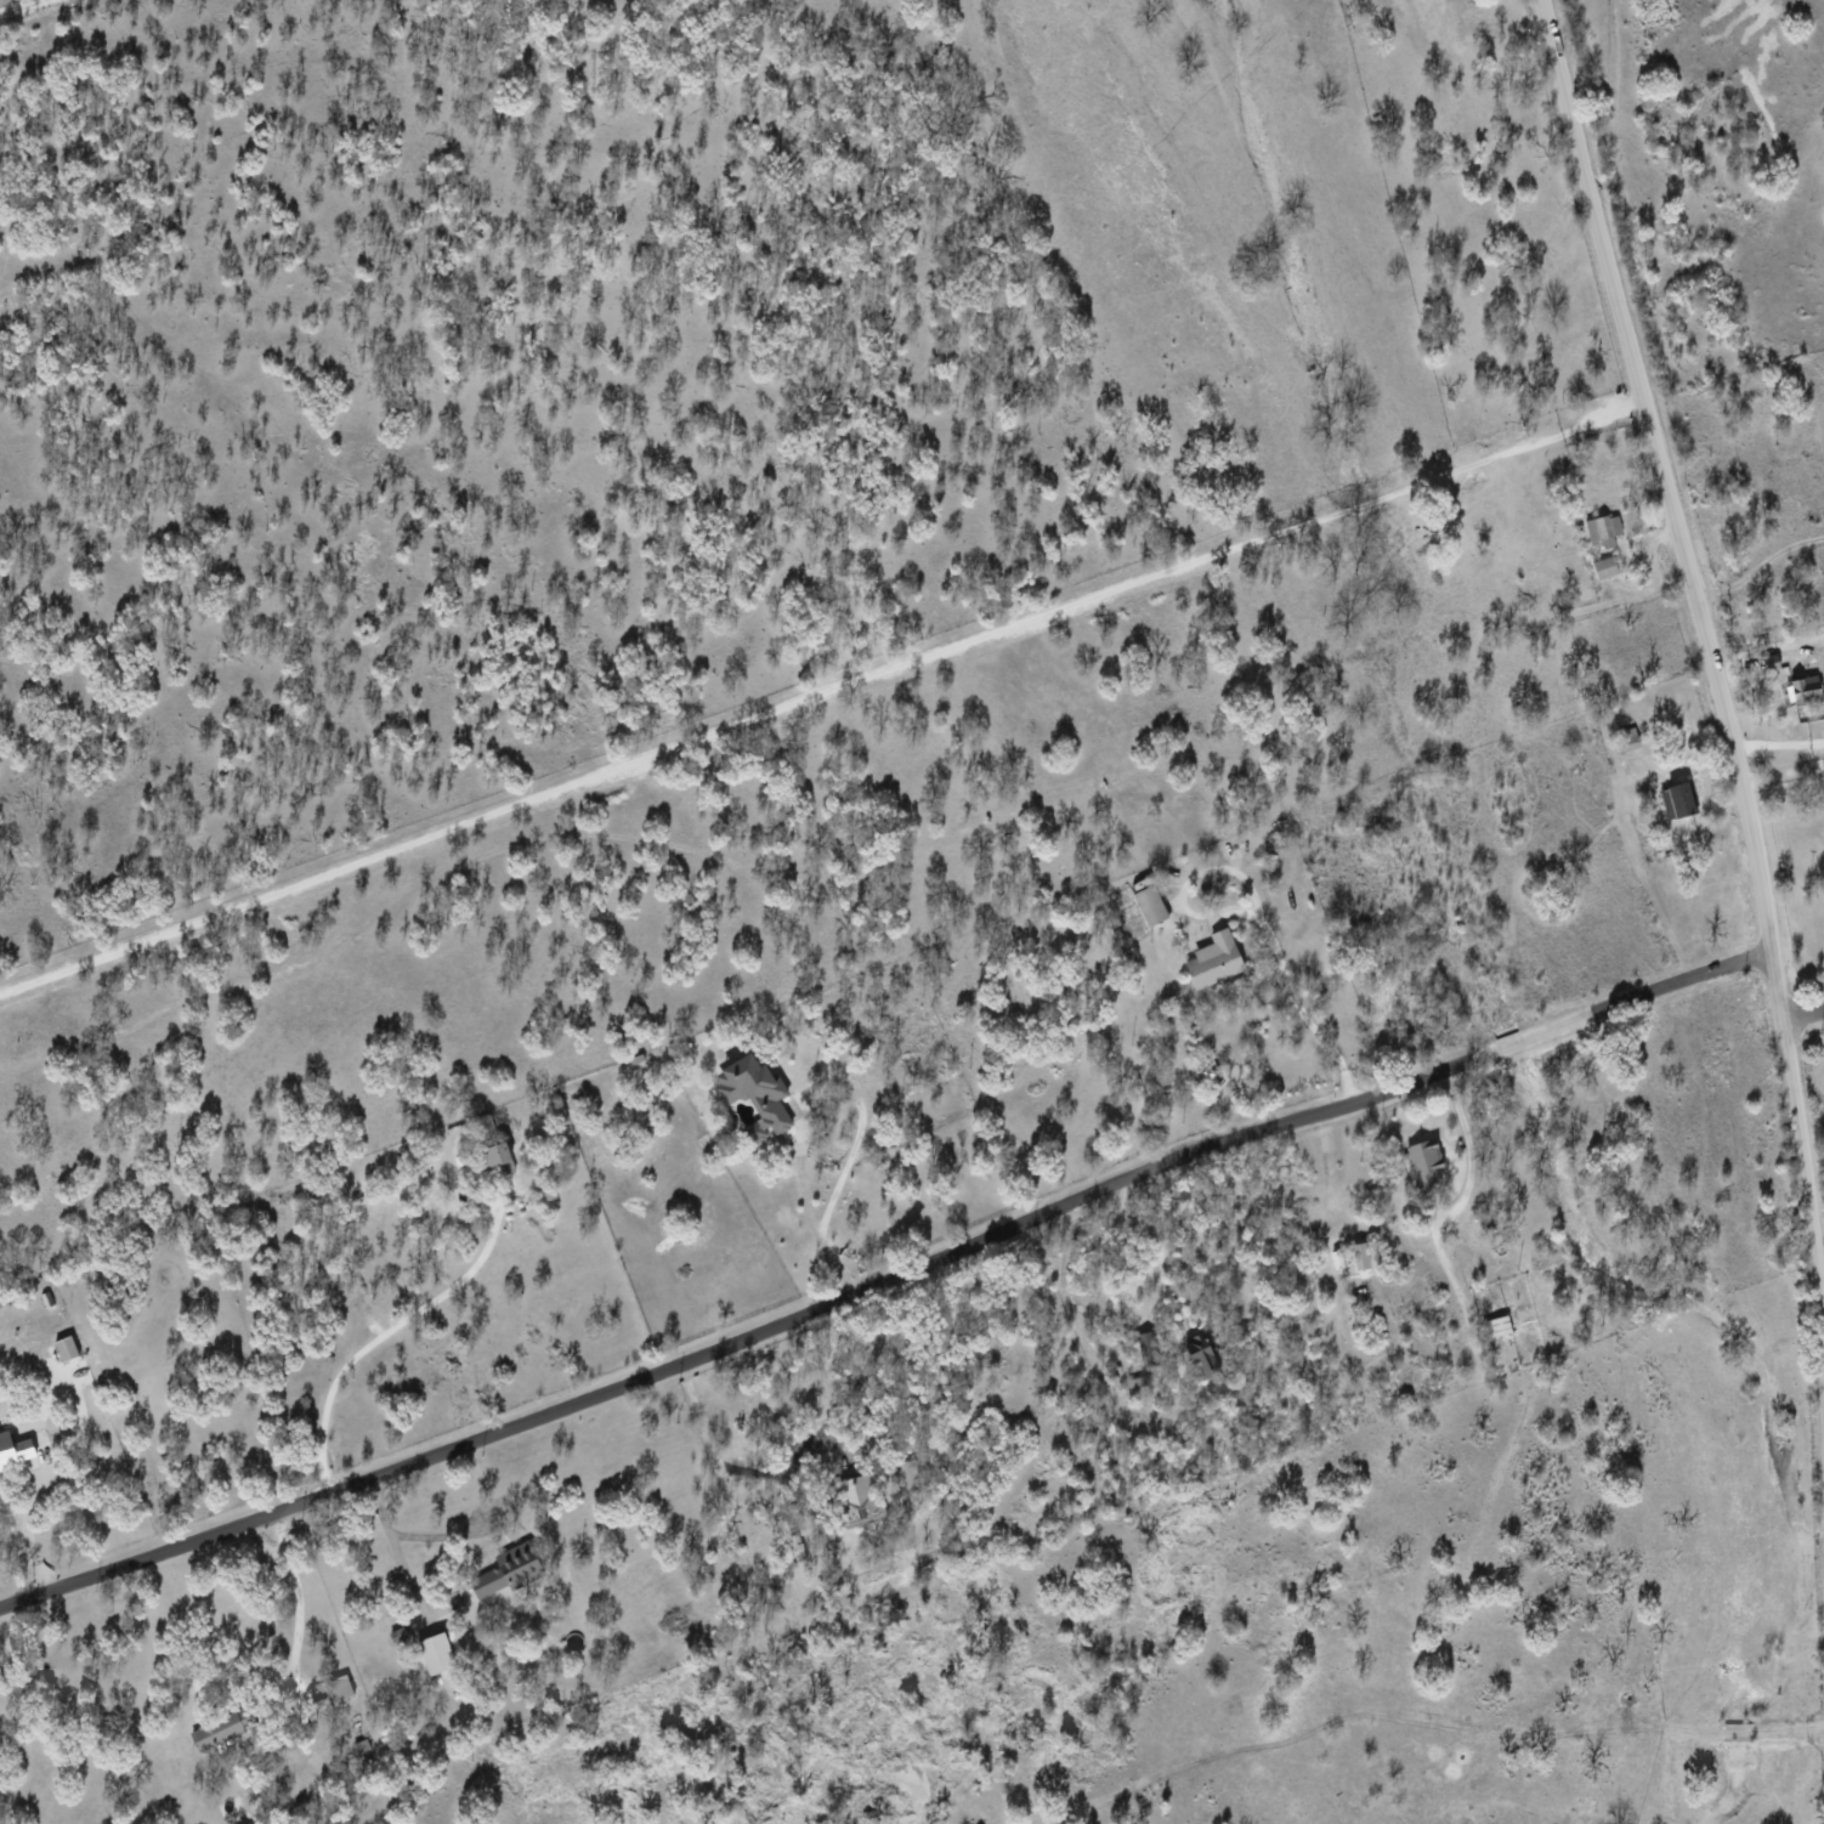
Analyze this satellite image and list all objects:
road: (21, 6)
building: (1603, 529)
building: (1604, 567)
road: (1711, 664)
building: (1803, 690)
road: (818, 693)
building: (1628, 738)
road: (1777, 742)
building: (1678, 800)
building: (1150, 905)
building: (1214, 959)
road: (1290, 998)
road: (1803, 1009)
building: (755, 1095)
building: (494, 1155)
road: (818, 1230)
road: (1150, 1235)
road: (888, 1282)
building: (1496, 1326)
road: (375, 1338)
building: (66, 1347)
building: (1200, 1352)
building: (15, 1449)
road: (718, 1469)
building: (905, 1479)
building: (859, 1500)
road: (393, 1543)
building: (508, 1570)
road: (296, 1598)
building: (436, 1653)
building: (340, 1687)
building: (220, 1729)

